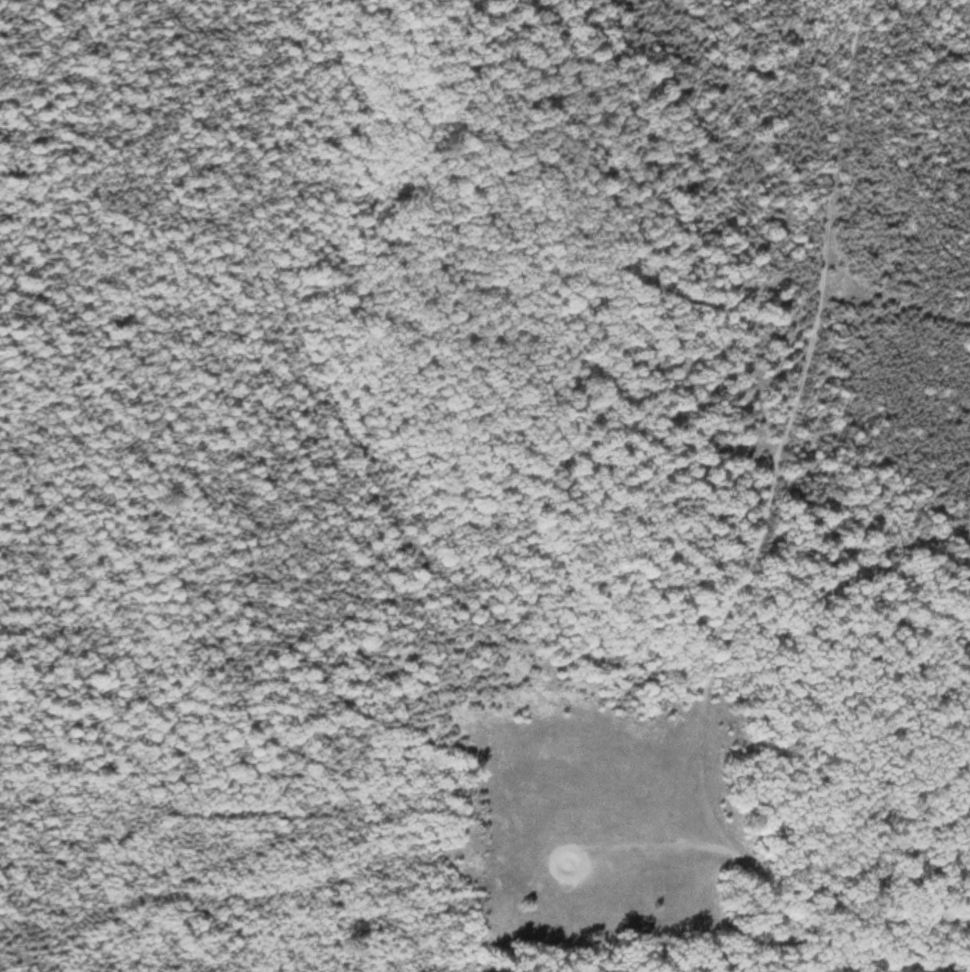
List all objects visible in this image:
road: (897, 296)
road: (768, 496)

